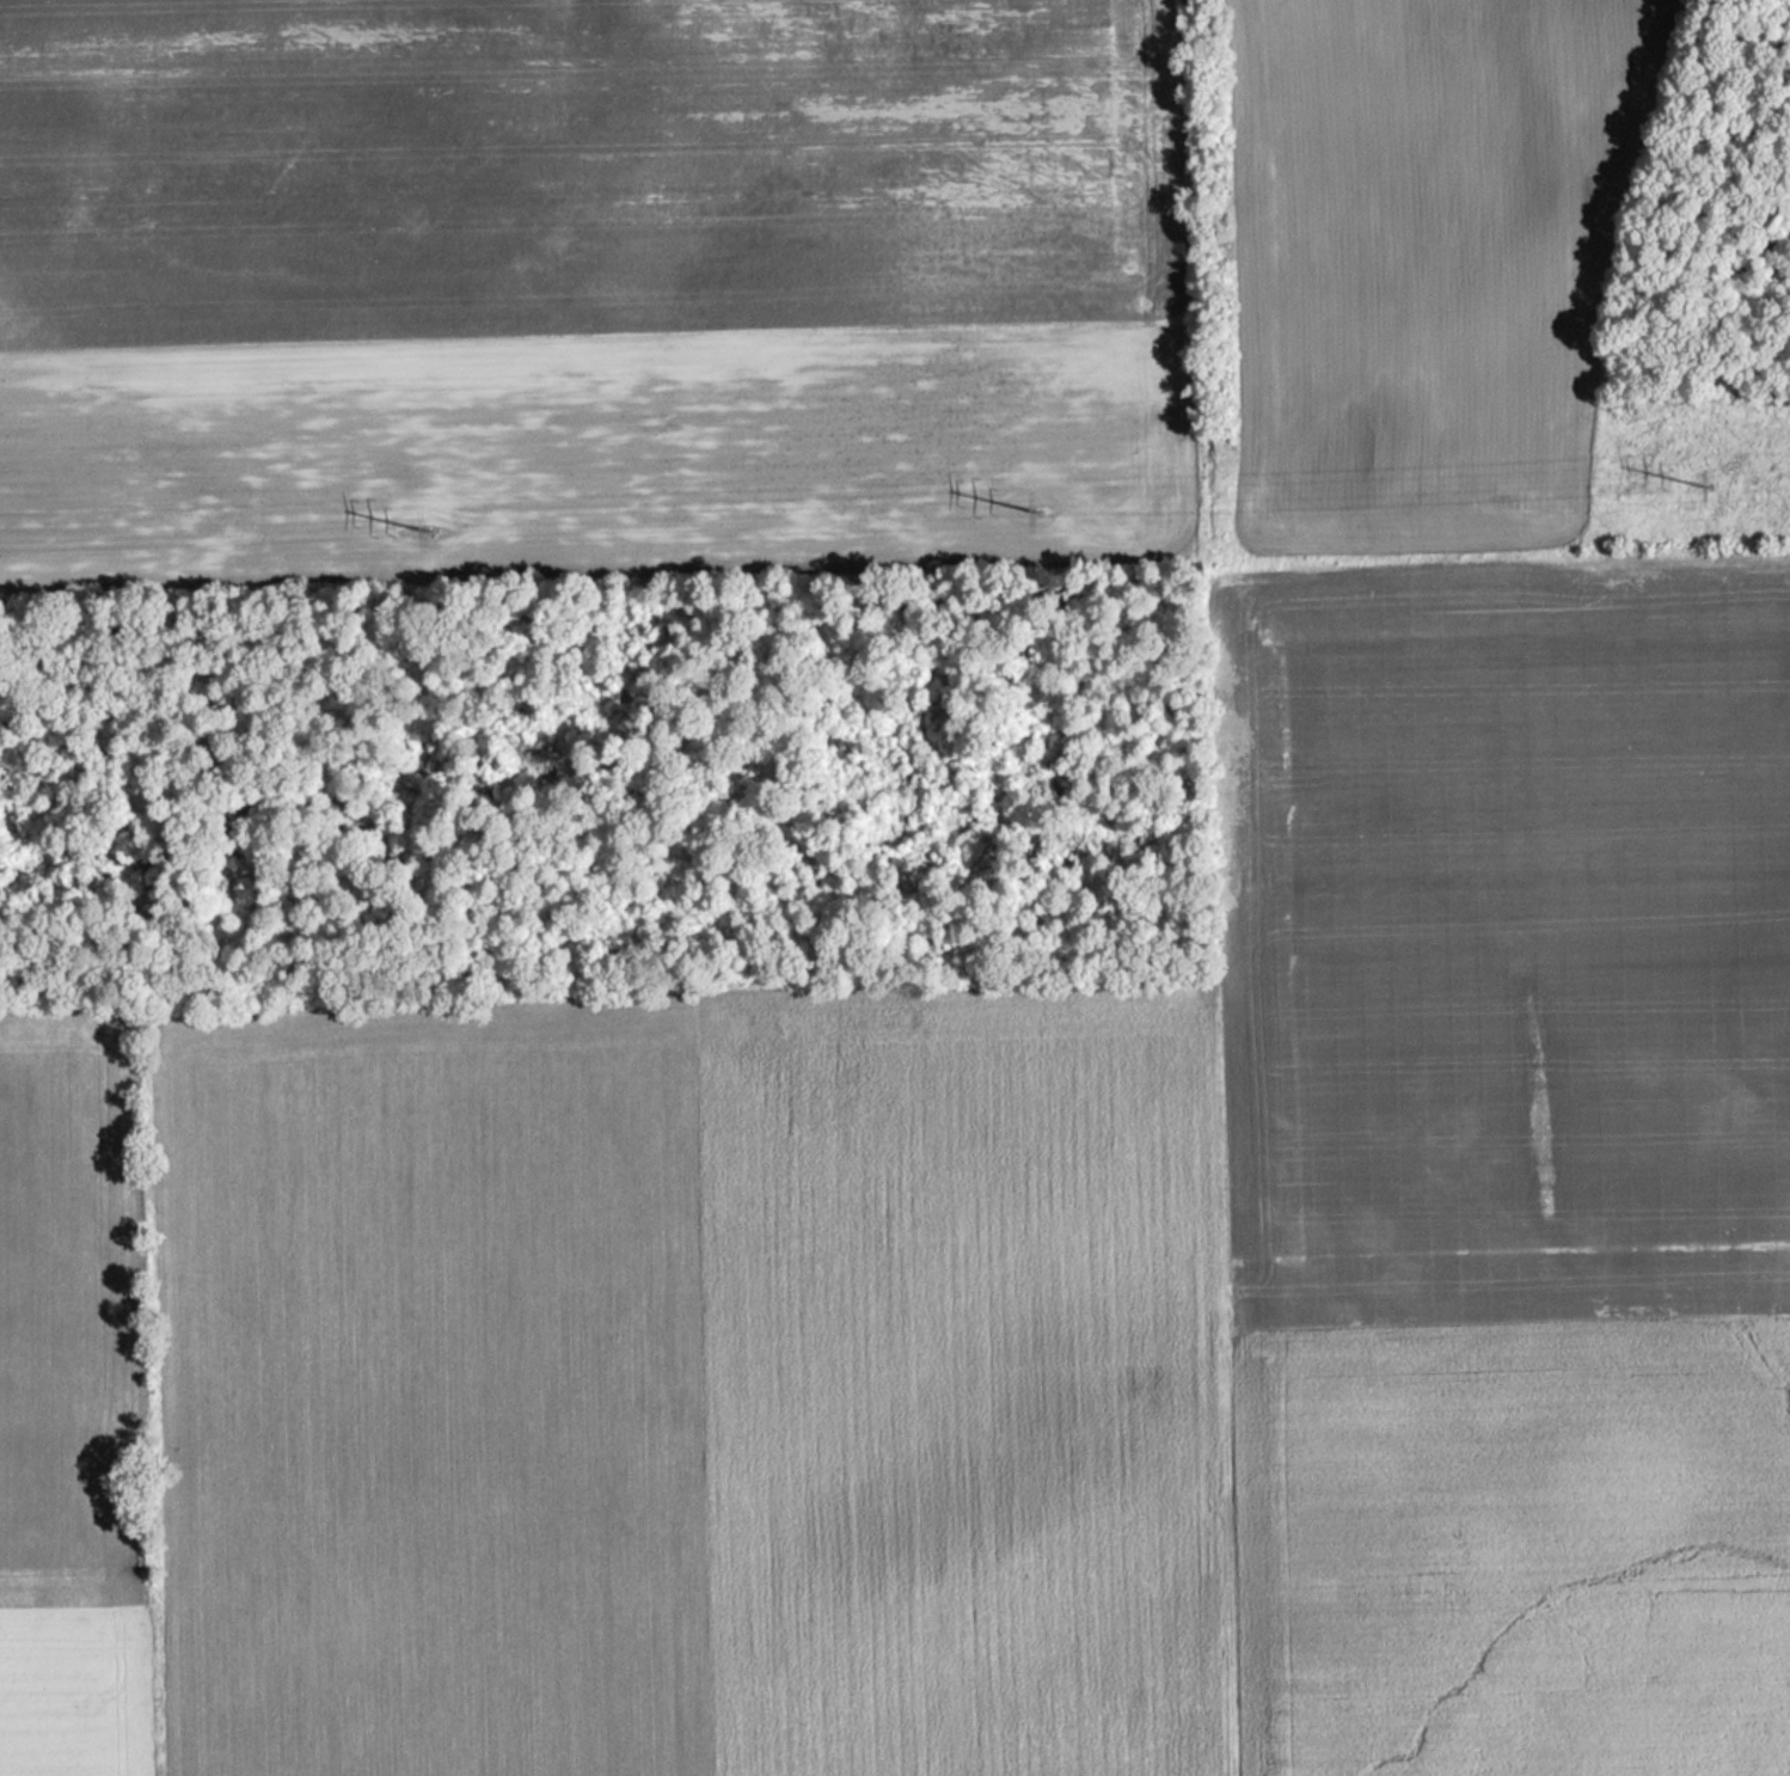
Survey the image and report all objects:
power tower: (1709, 492)
power tower: (1044, 513)
power tower: (436, 533)

